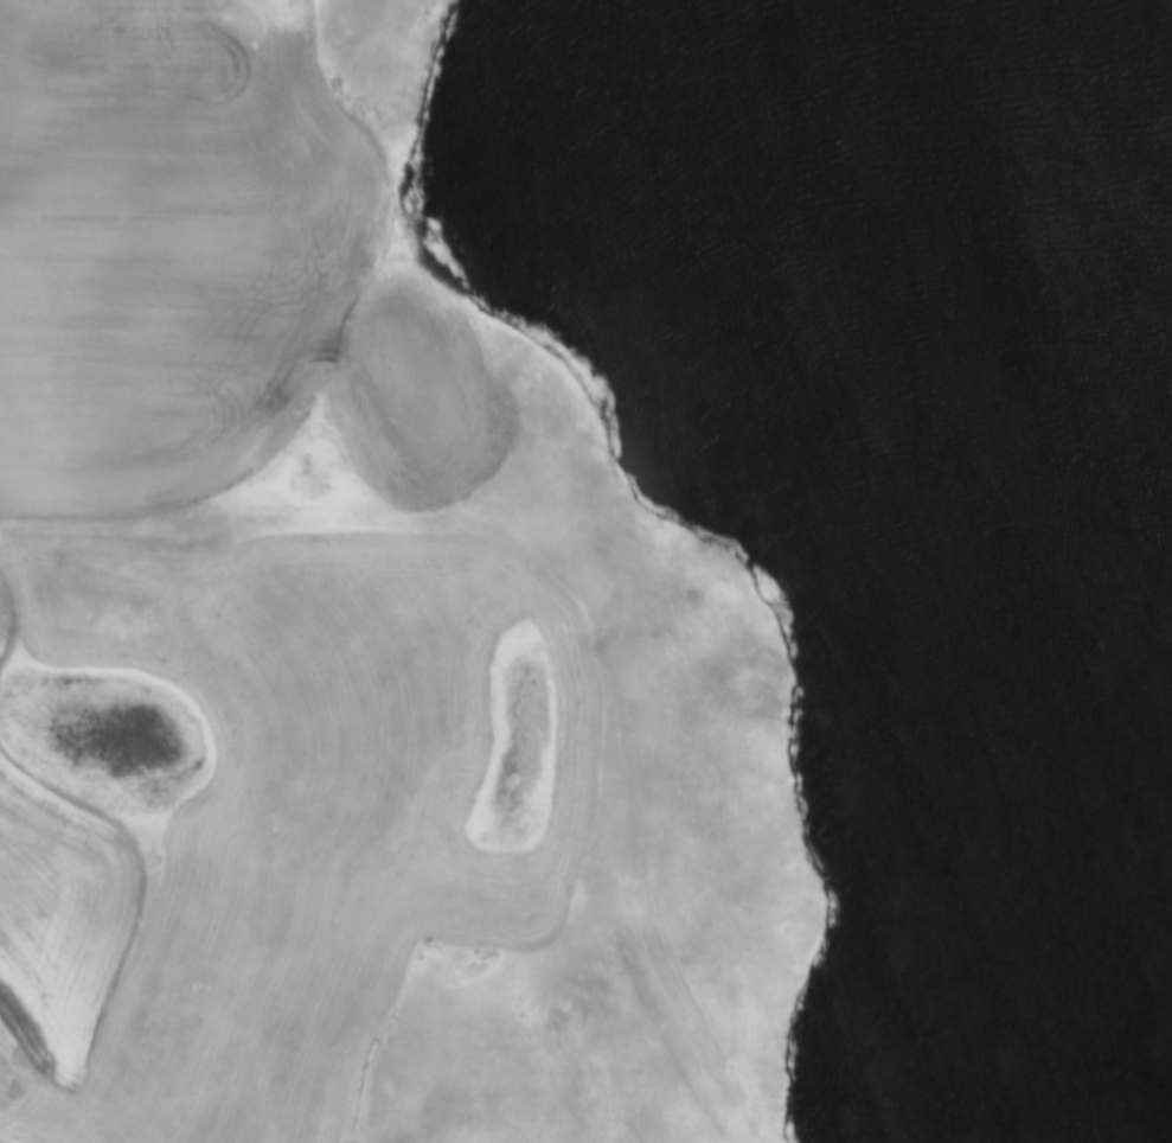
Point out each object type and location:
road: (584, 600)

